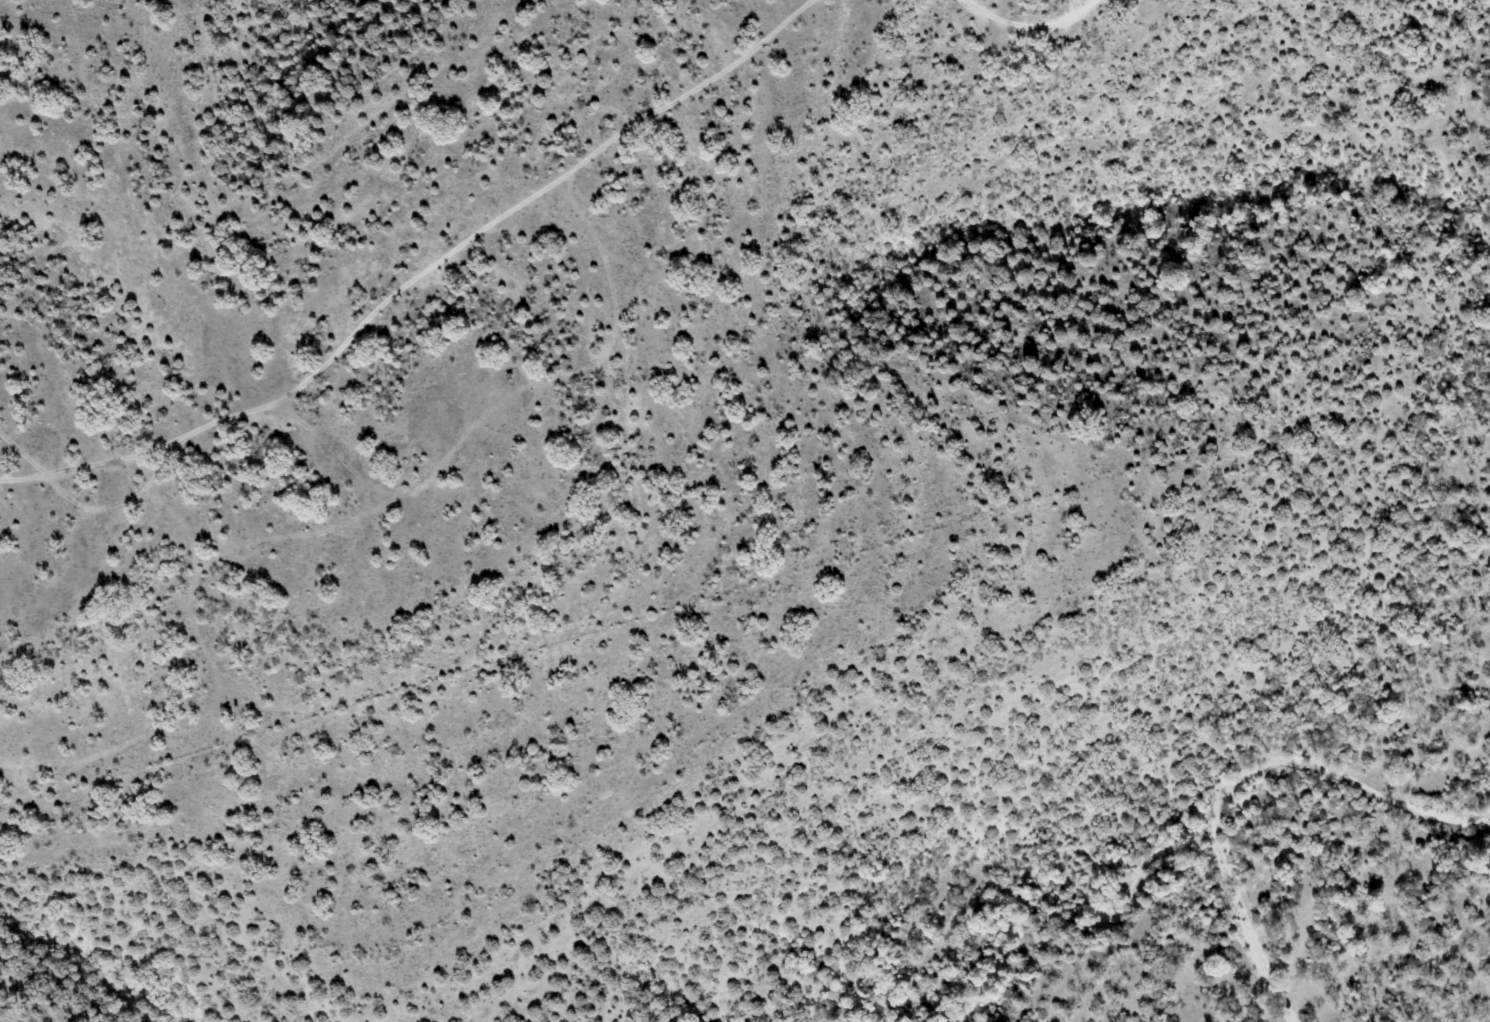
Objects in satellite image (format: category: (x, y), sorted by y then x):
road: (1032, 51)
road: (413, 297)

